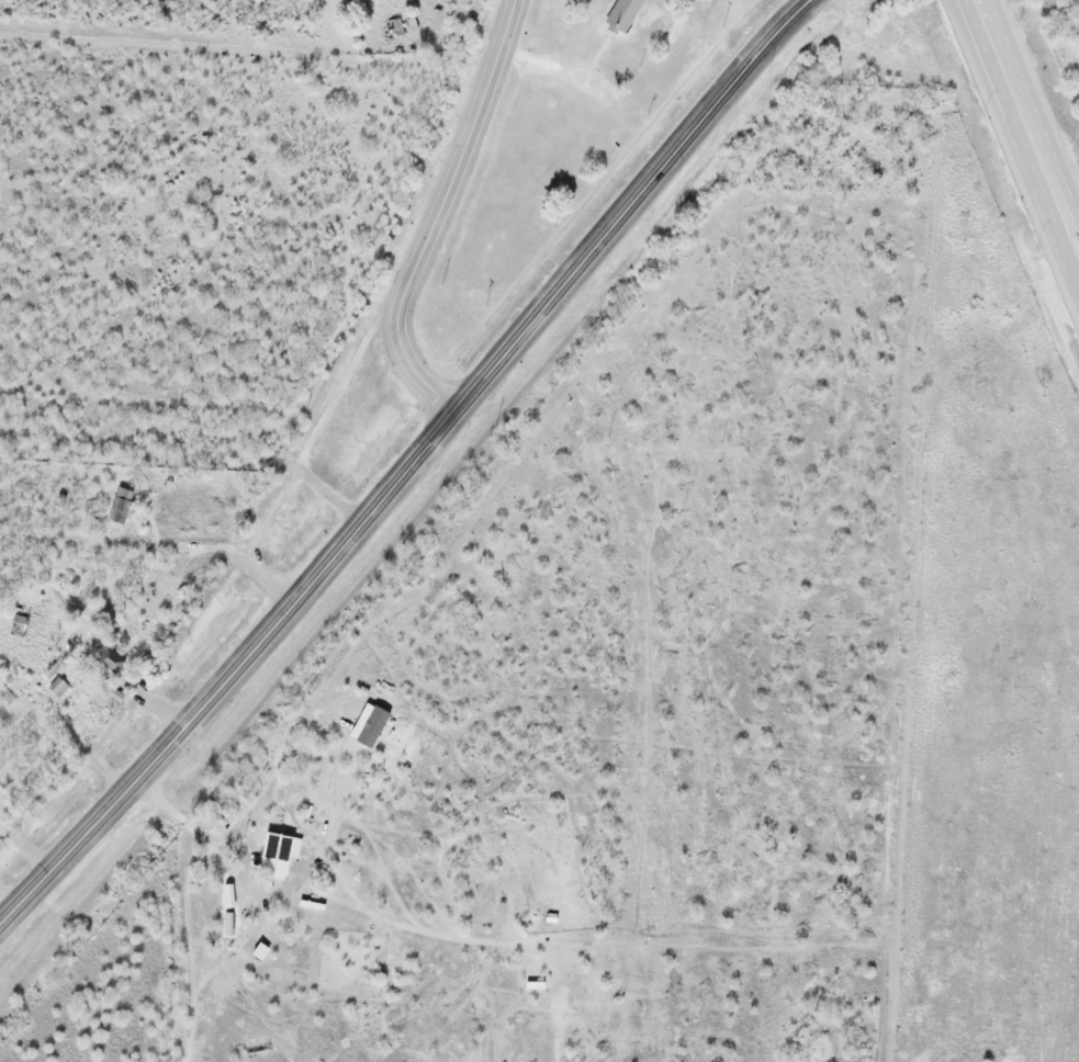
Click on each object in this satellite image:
building: (619, 14)
building: (393, 27)
road: (1005, 68)
road: (1061, 171)
road: (628, 201)
road: (436, 211)
road: (1048, 212)
railway: (418, 498)
building: (116, 505)
building: (106, 659)
road: (224, 665)
building: (55, 687)
building: (272, 855)
building: (237, 886)

